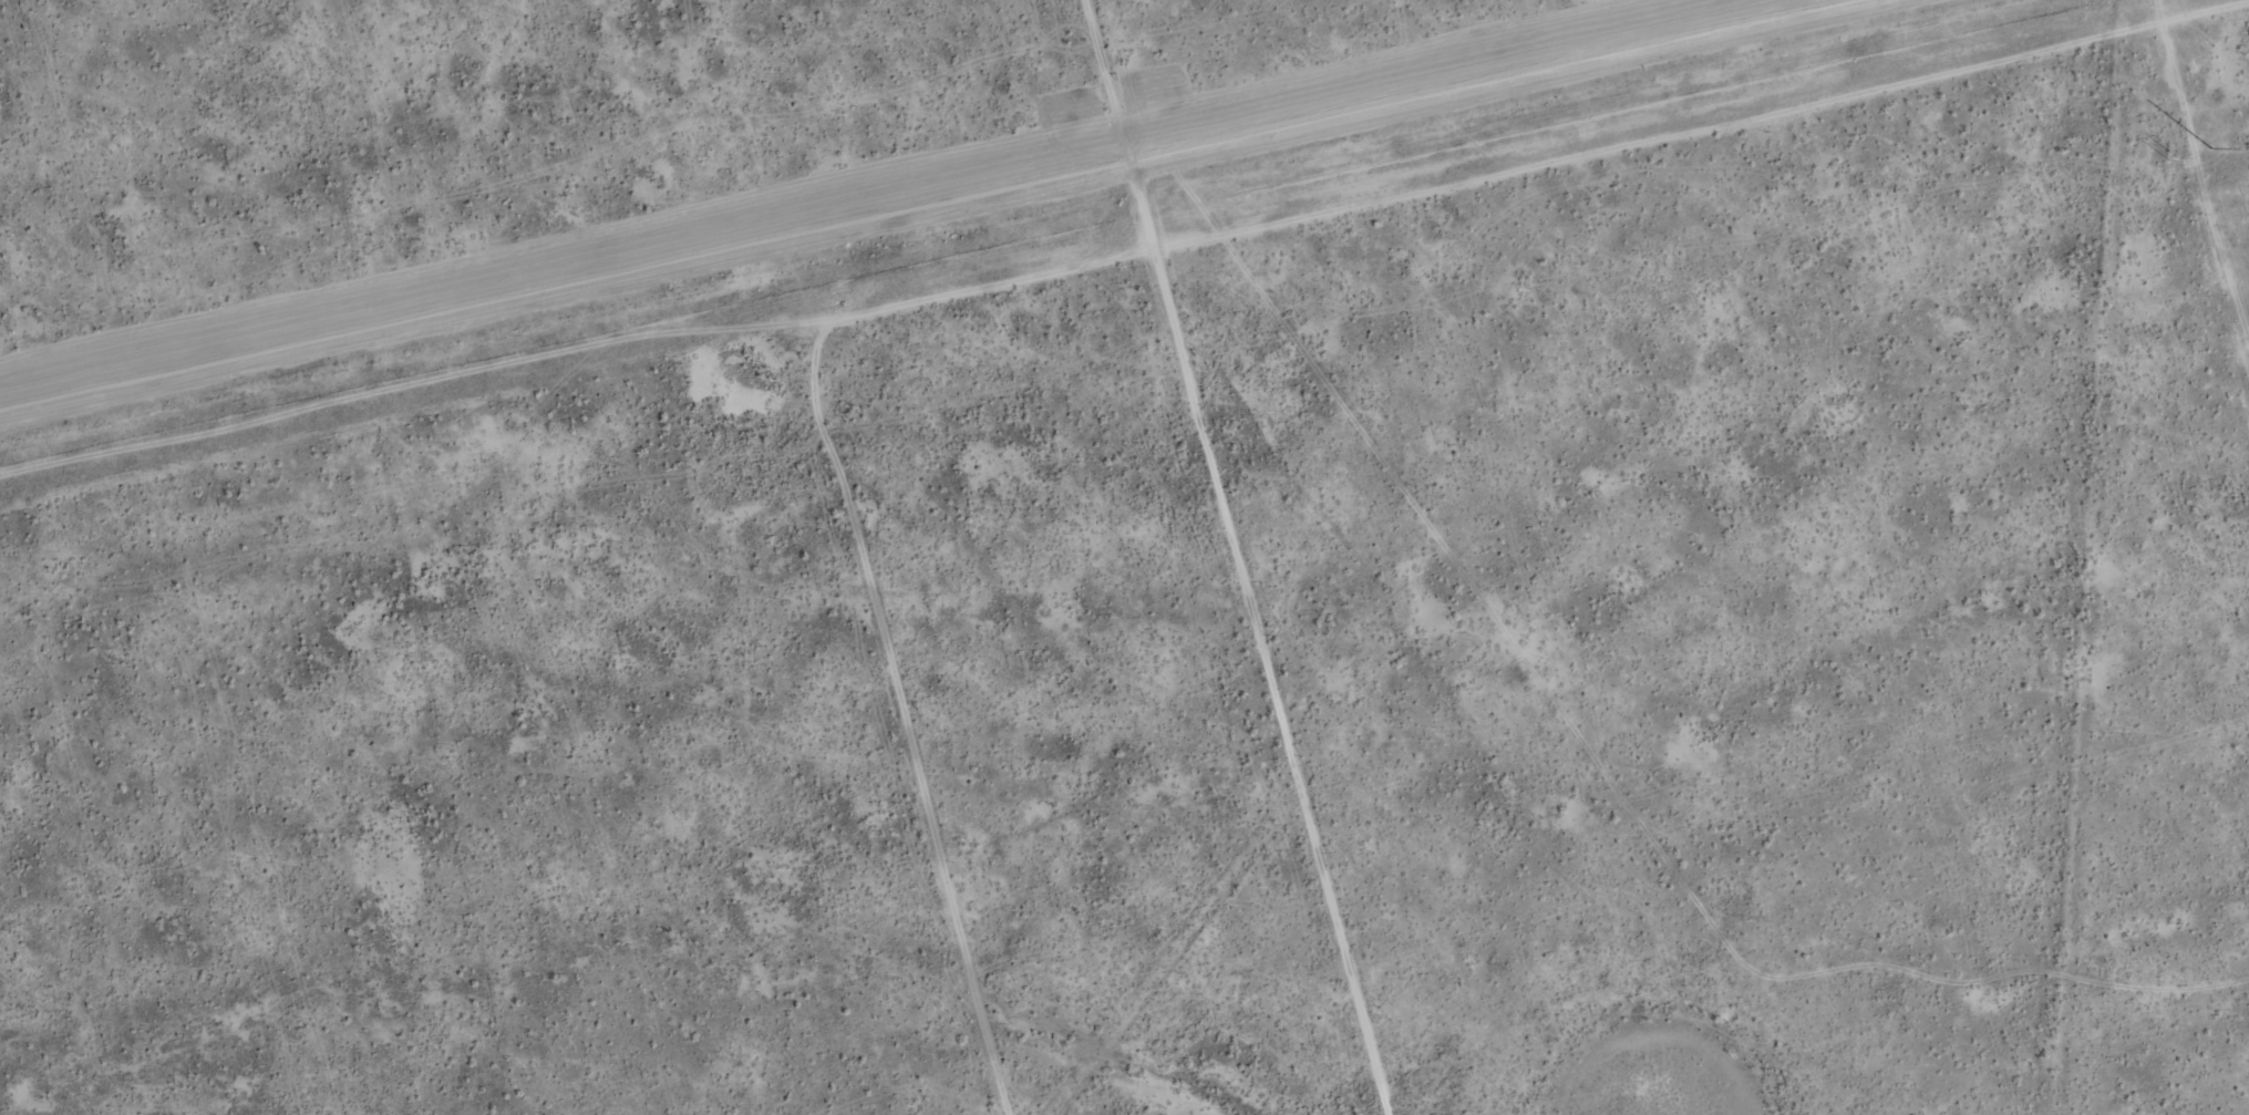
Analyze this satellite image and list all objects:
power tower: (2210, 147)
power tower: (2169, 159)

